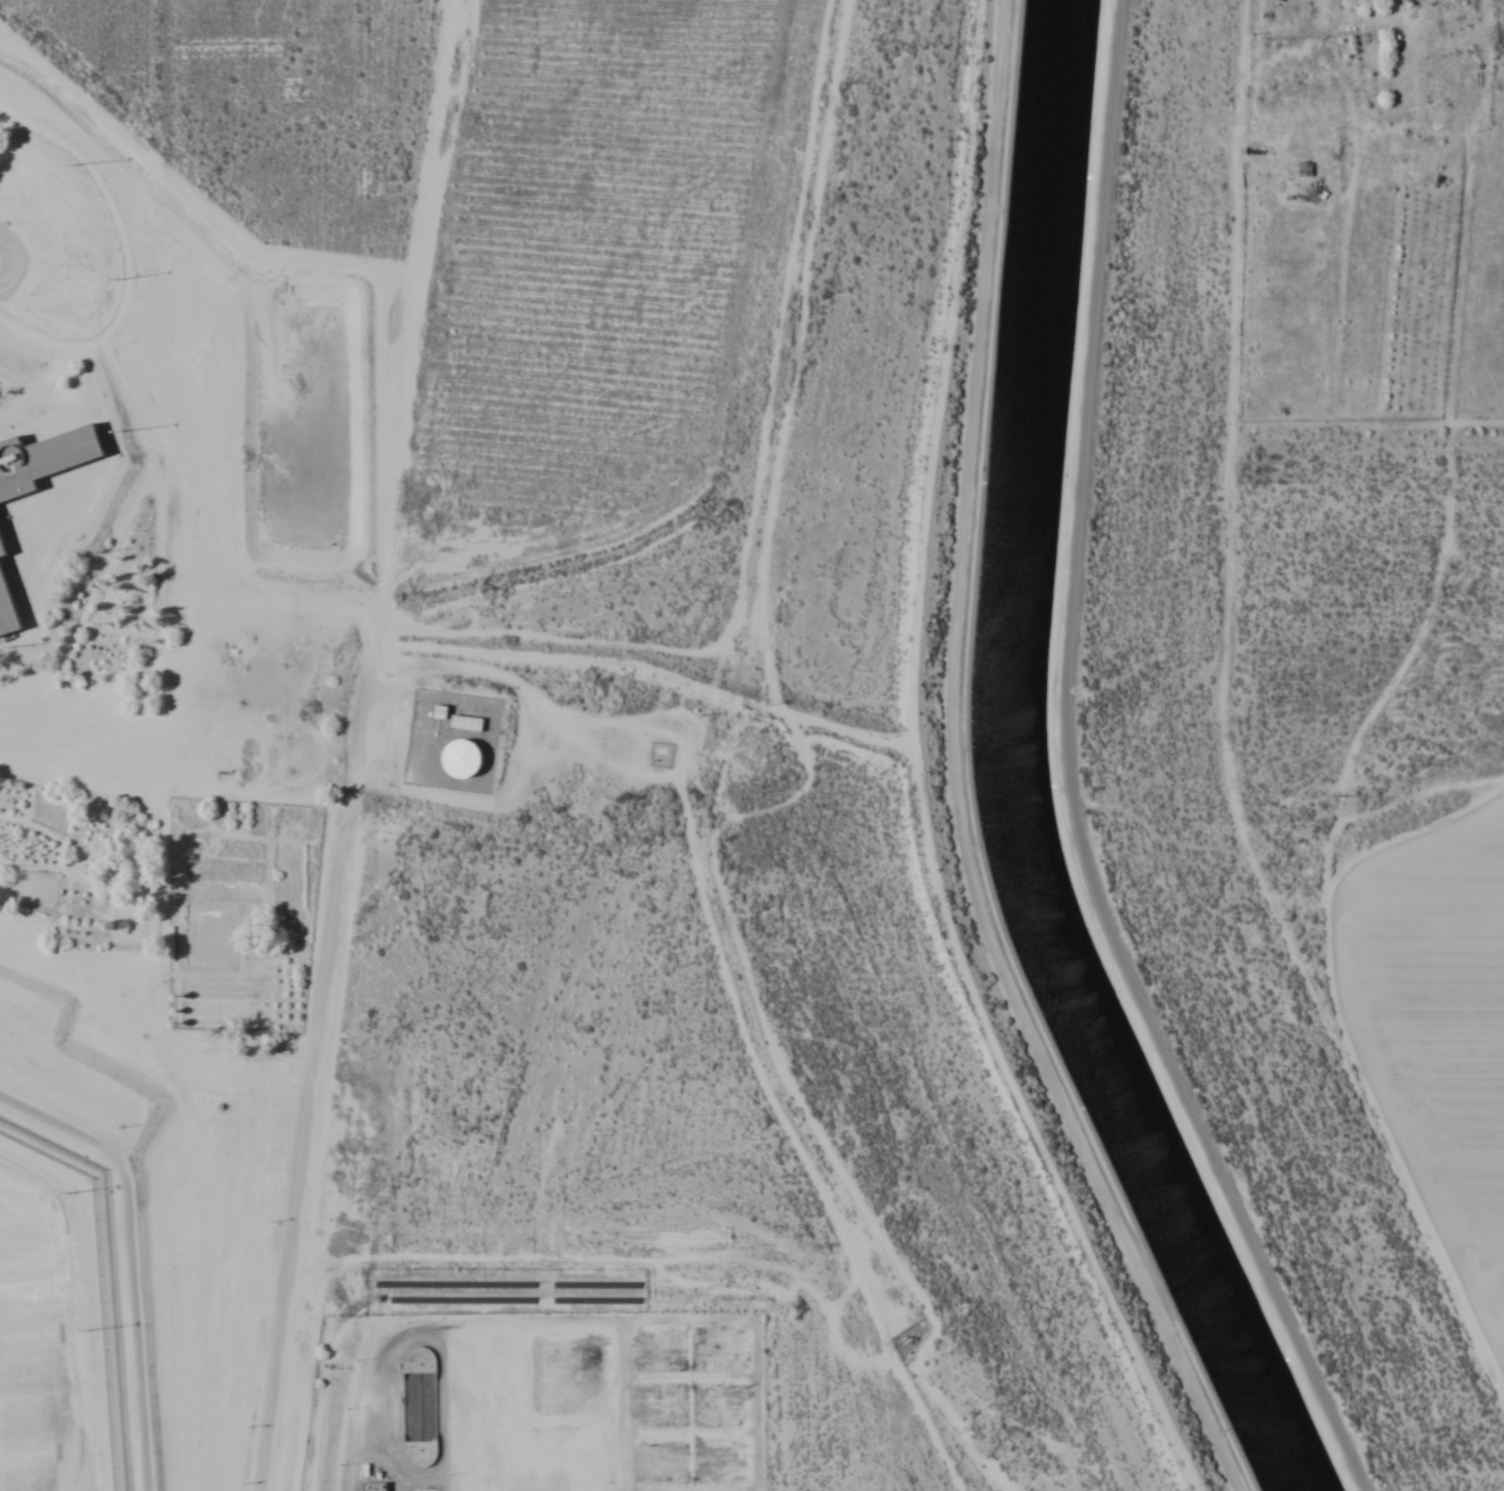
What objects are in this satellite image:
building: (1406, 1)
road: (1407, 125)
building: (1299, 170)
park: (54, 241)
building: (44, 459)
building: (1, 549)
building: (6, 610)
building: (442, 712)
building: (468, 723)
building: (463, 758)
road: (955, 773)
road: (1070, 775)
road: (782, 799)
crop: (1439, 986)
park: (29, 1225)
road: (129, 1258)
park: (29, 1337)
park: (33, 1444)
building: (376, 1486)

